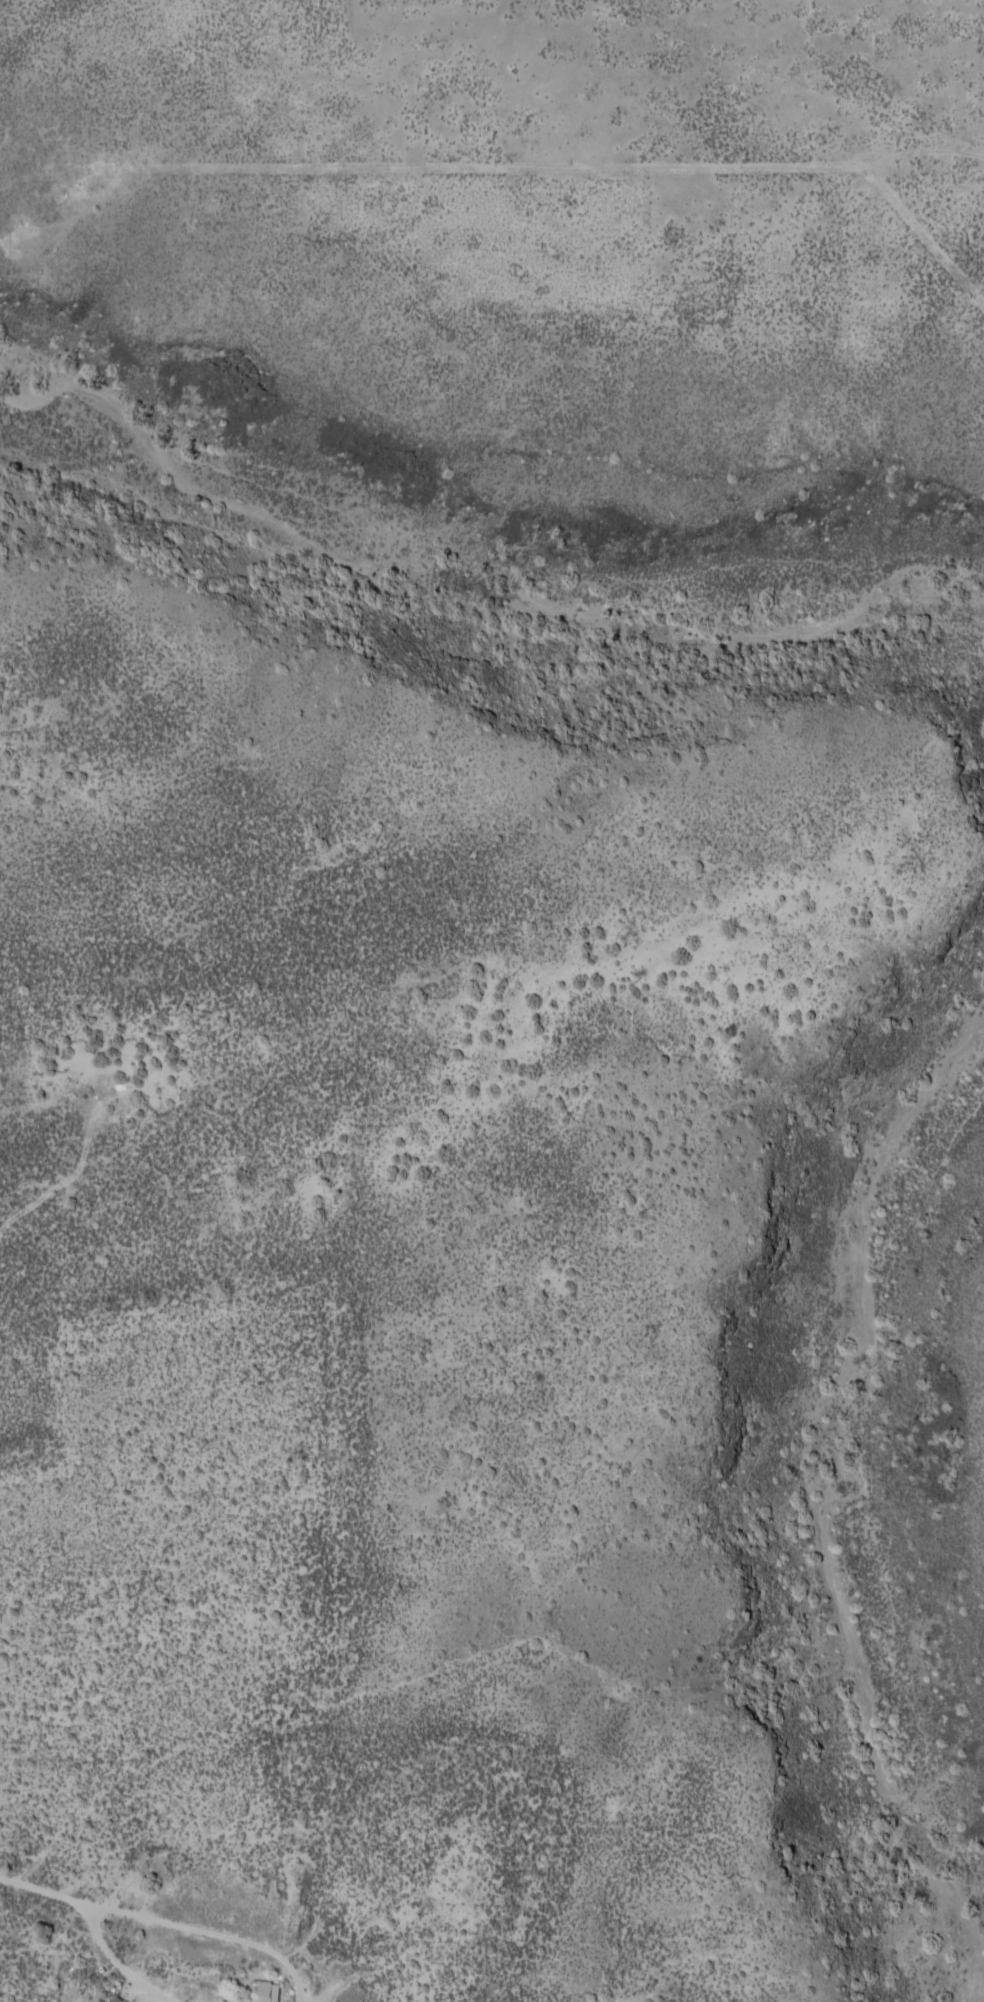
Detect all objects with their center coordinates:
road: (355, 1975)

